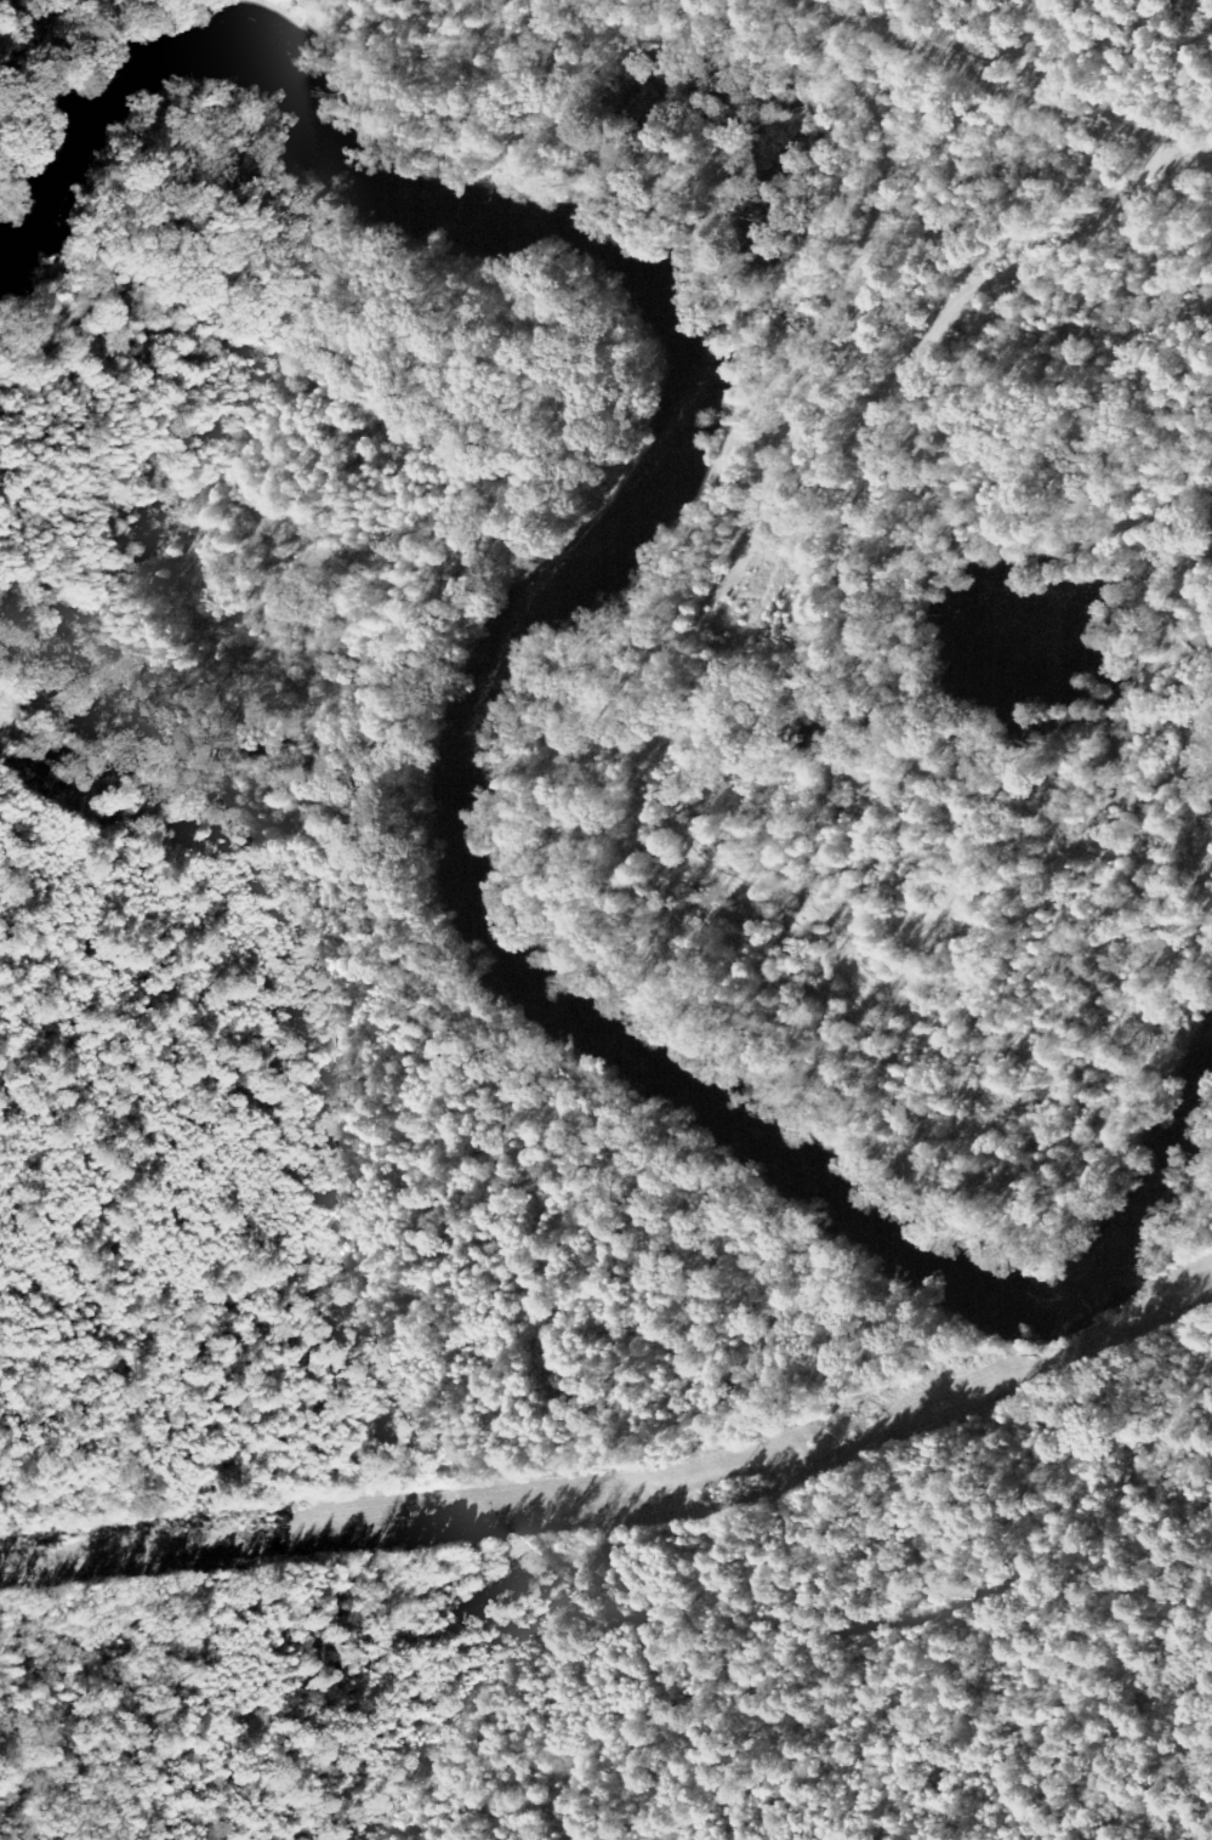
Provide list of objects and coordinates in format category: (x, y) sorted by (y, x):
road: (979, 84)
road: (861, 509)
river: (507, 648)
power tower: (739, 1486)

